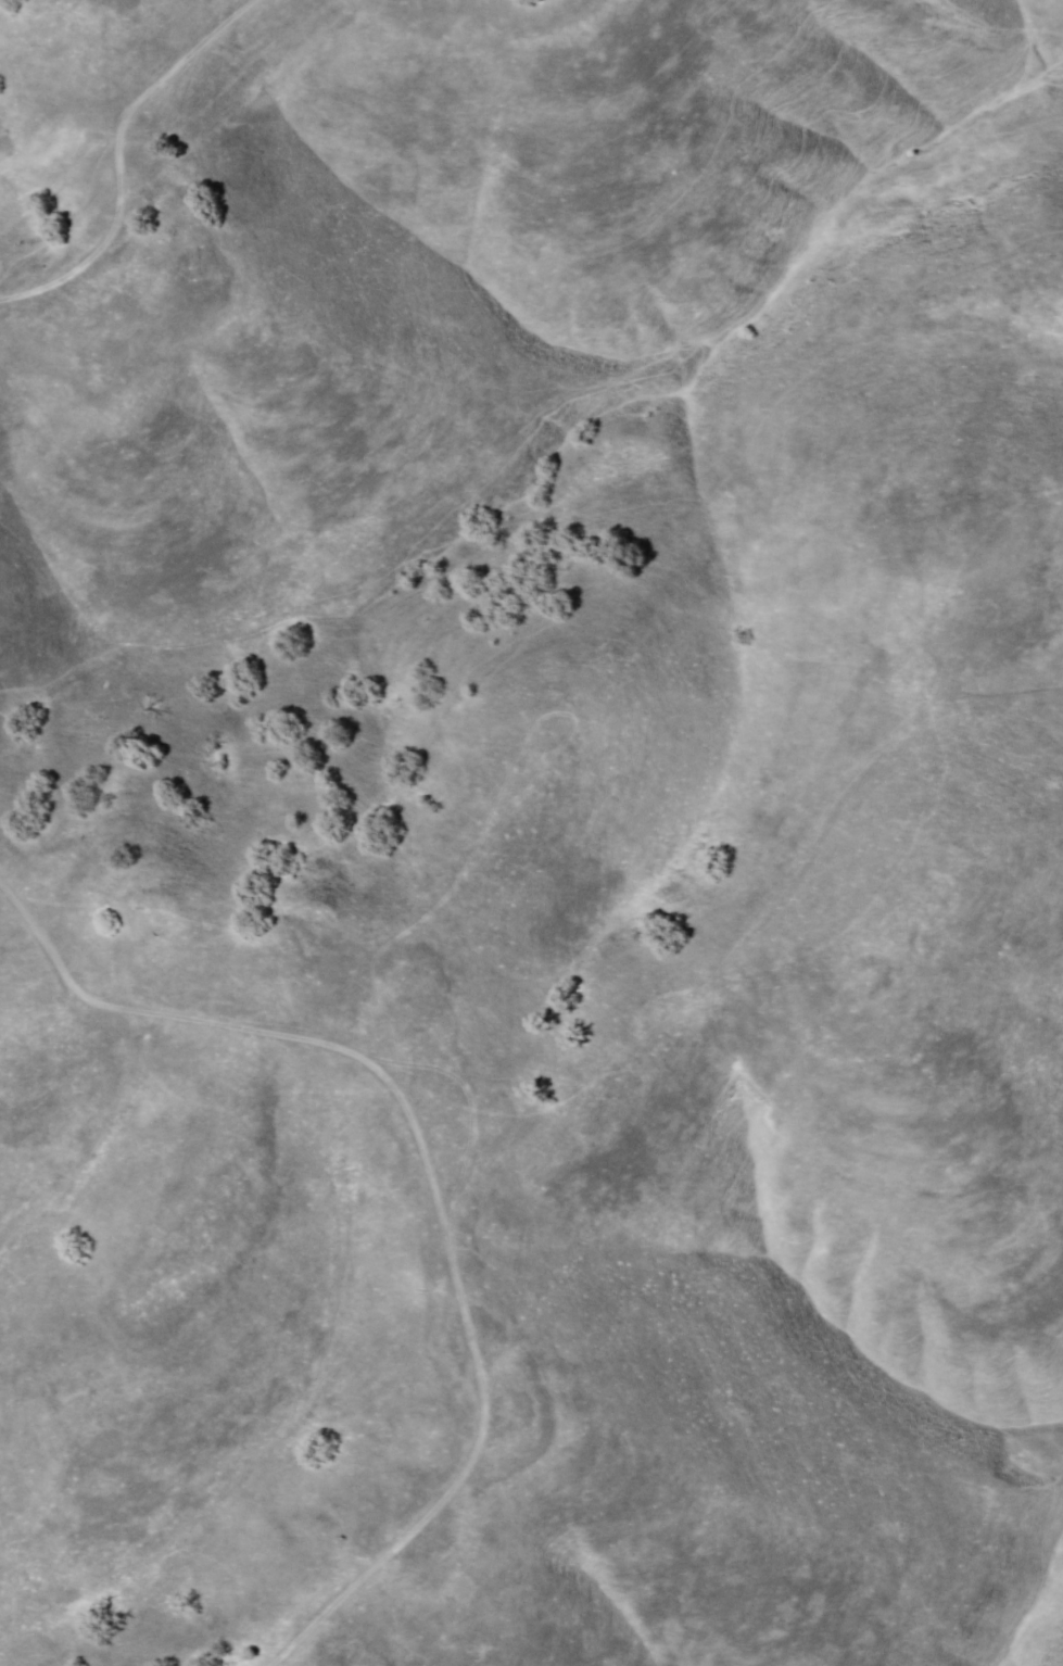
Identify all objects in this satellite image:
road: (123, 157)
road: (430, 1181)

